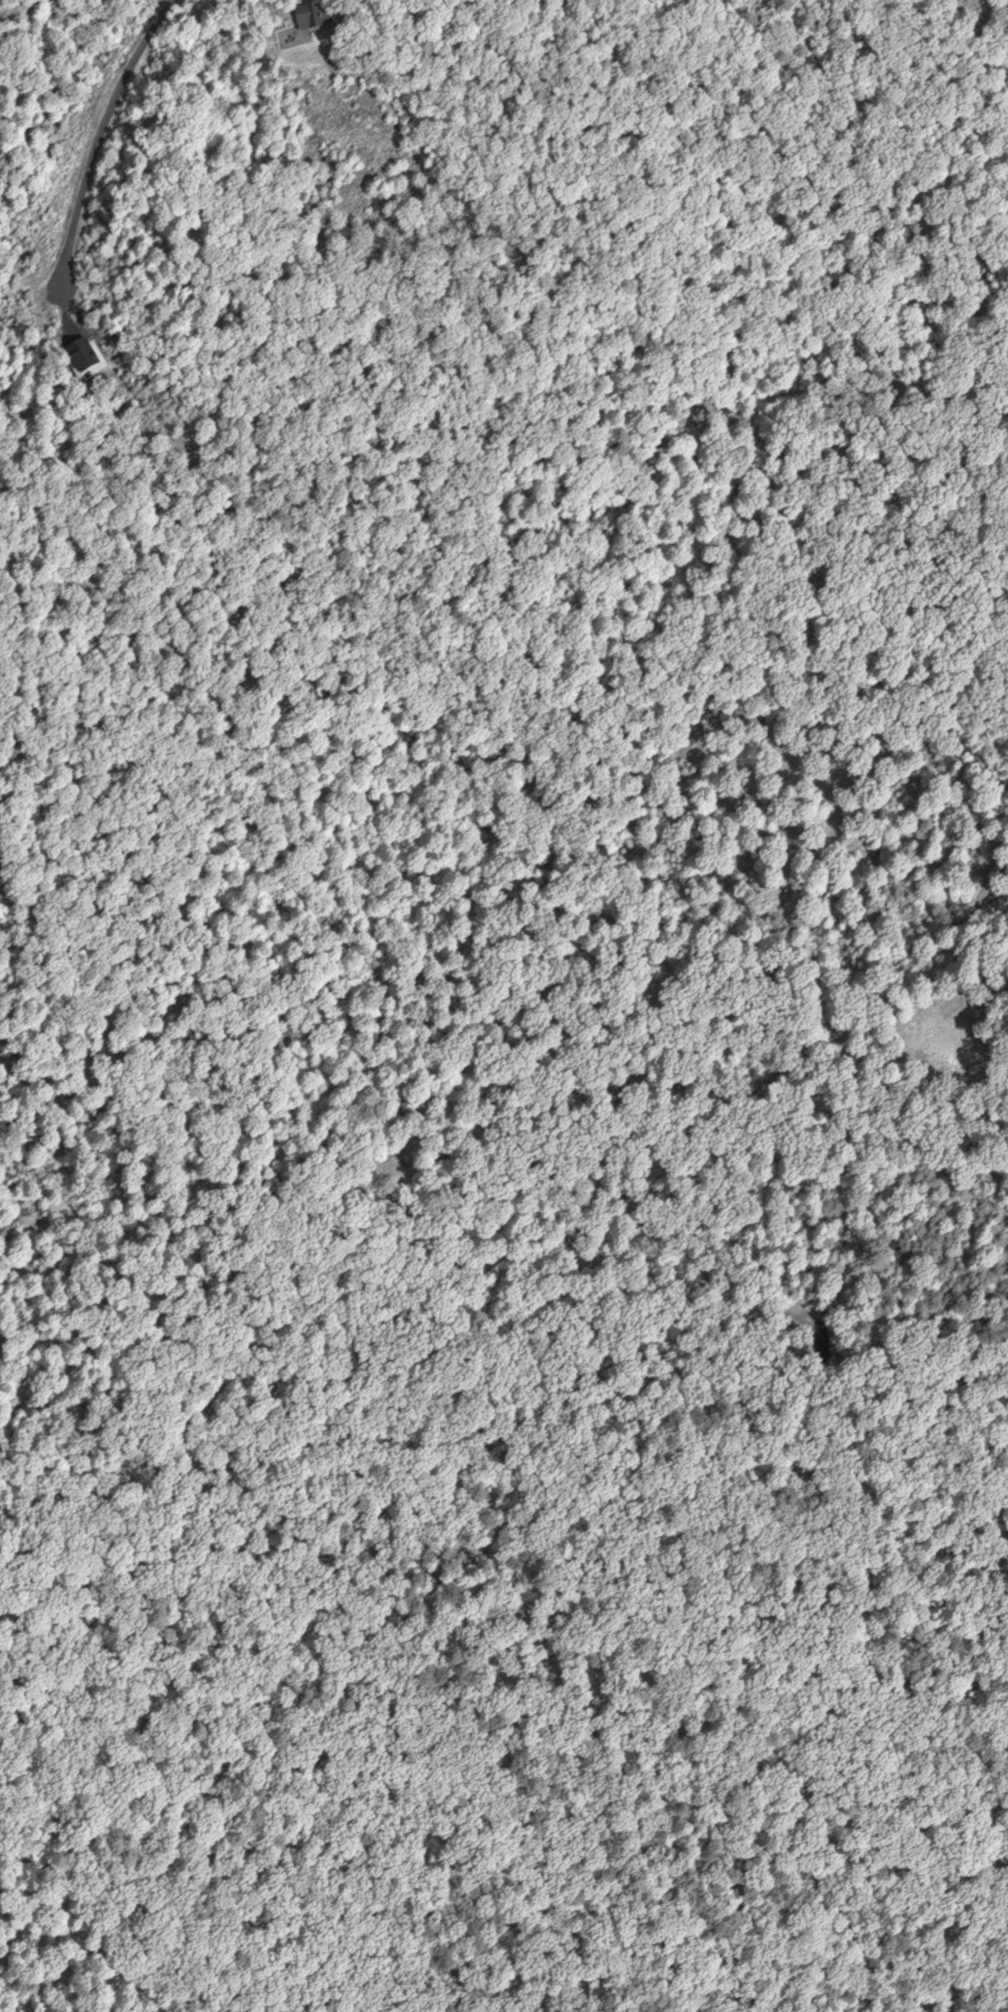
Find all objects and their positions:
building: (315, 14)
road: (123, 128)
building: (82, 356)

